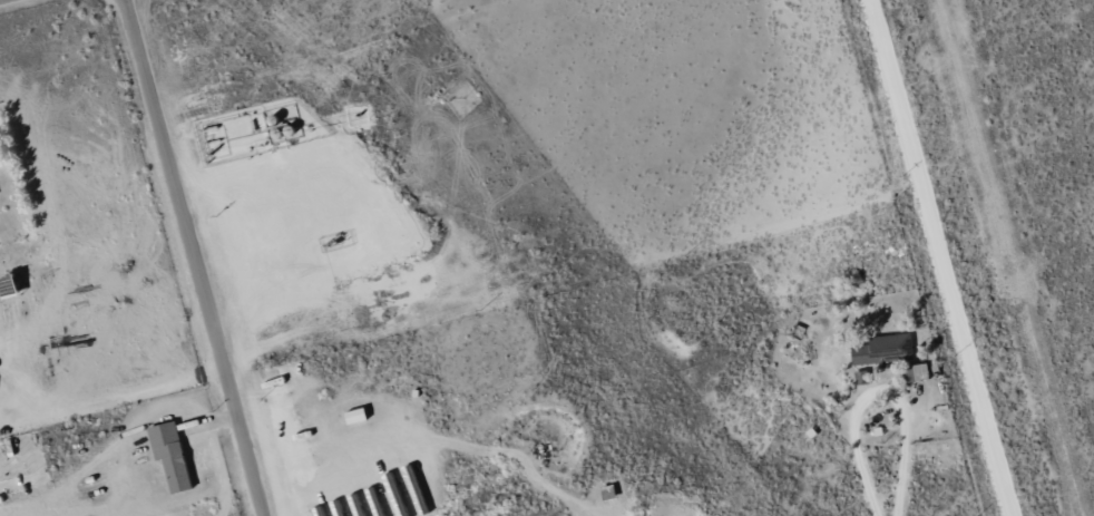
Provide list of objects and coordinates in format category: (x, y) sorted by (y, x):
road: (195, 257)
road: (938, 257)
building: (878, 350)
building: (917, 372)
building: (351, 417)
building: (167, 456)
building: (353, 510)

